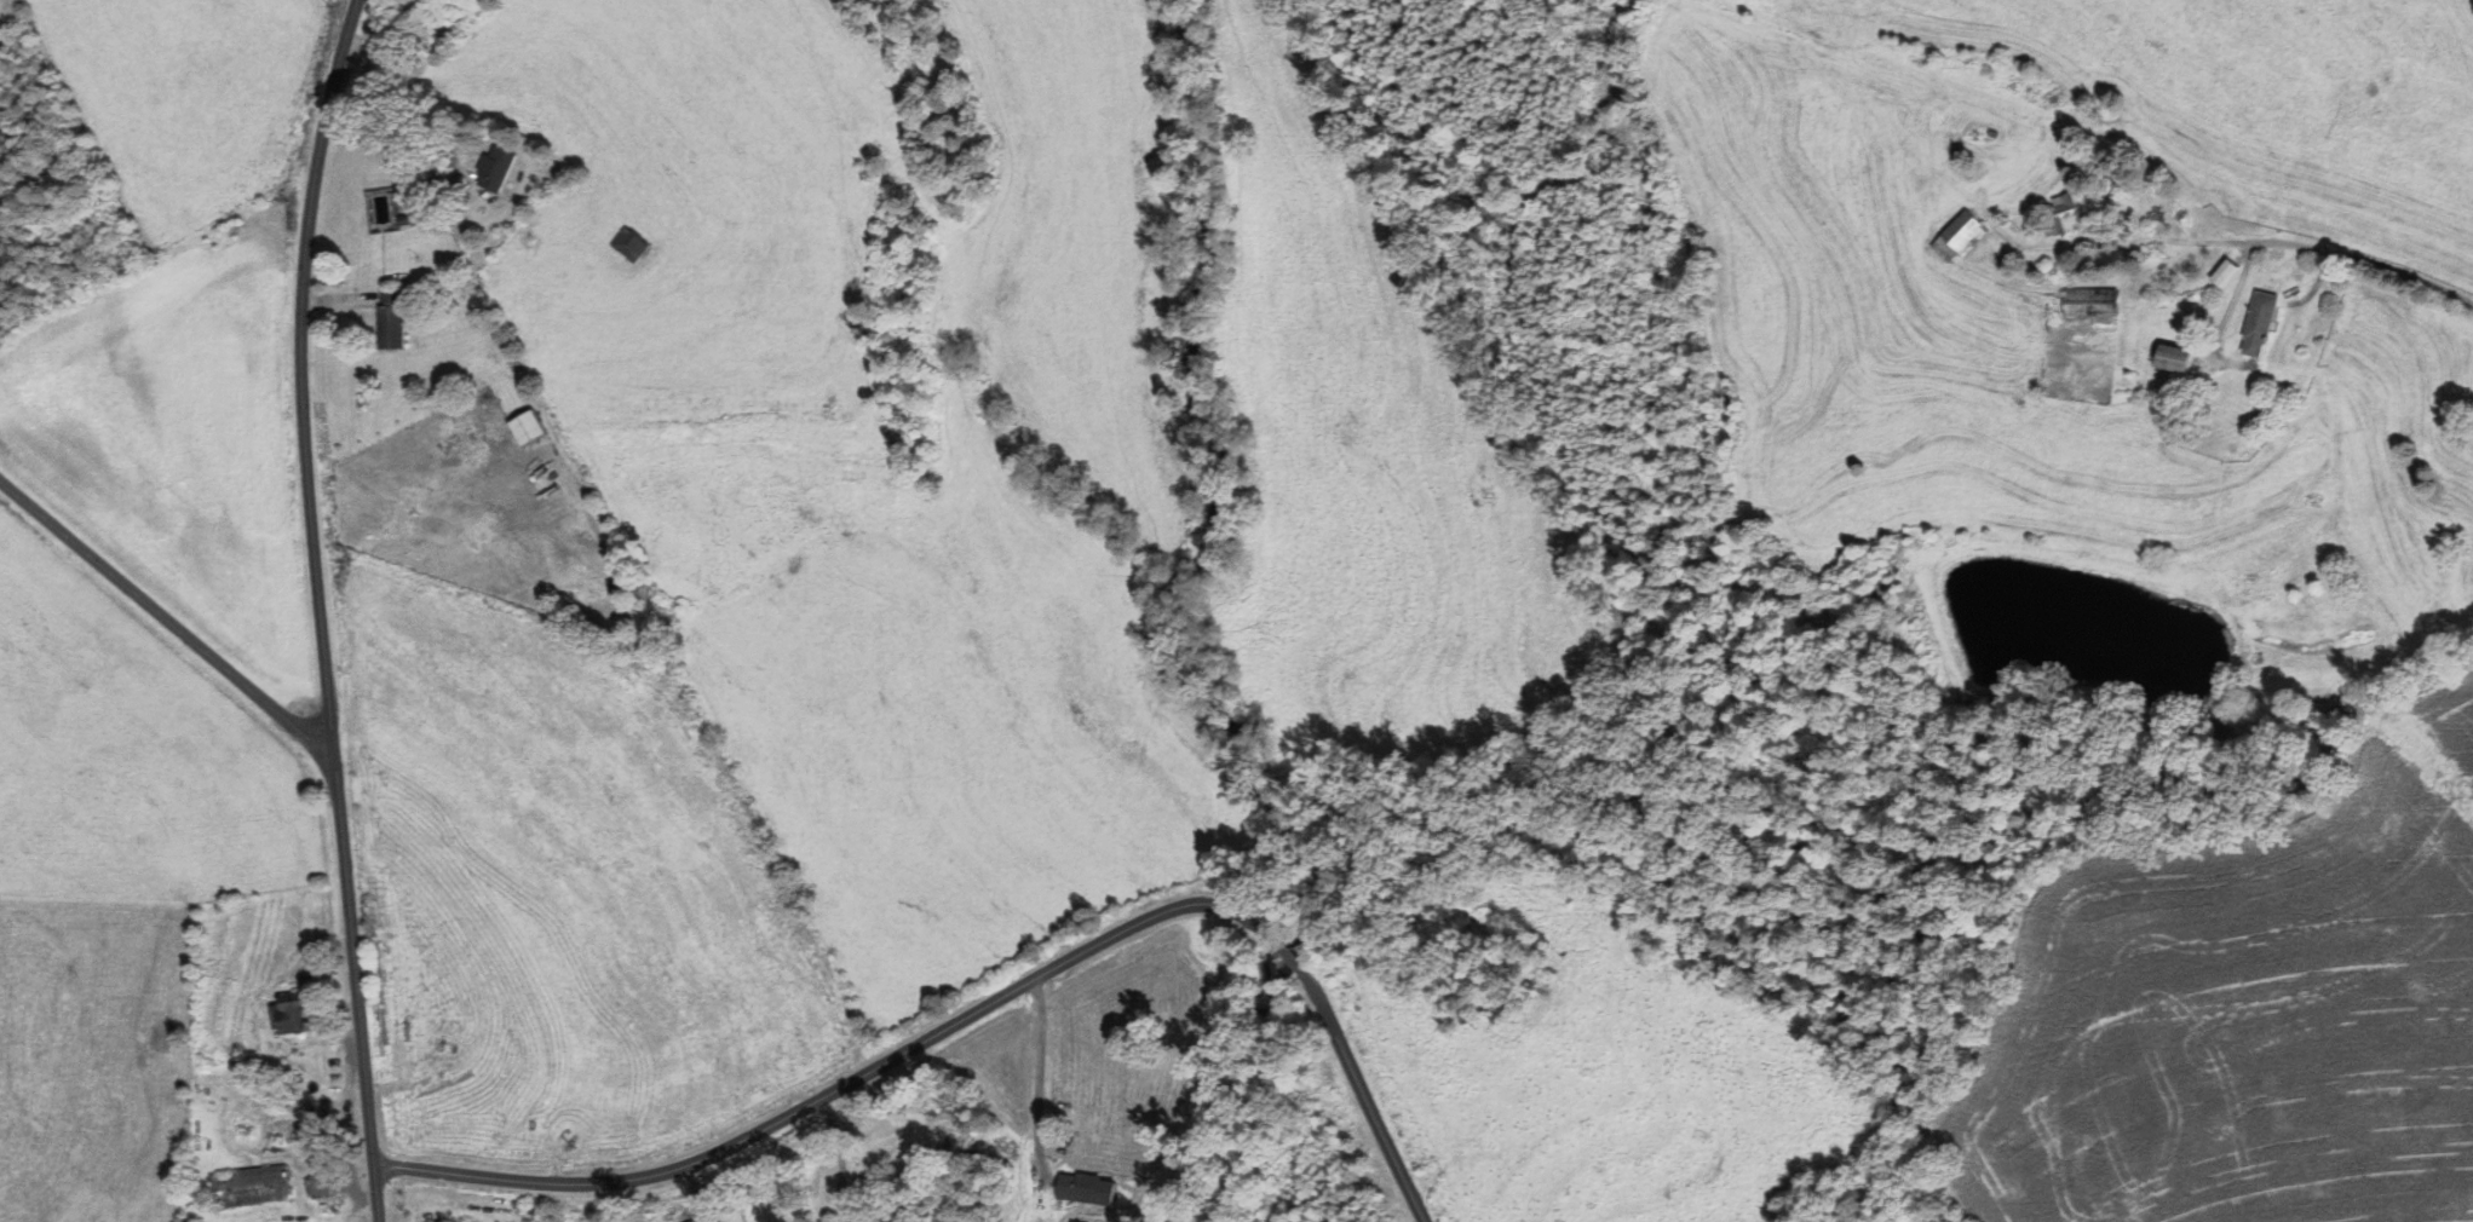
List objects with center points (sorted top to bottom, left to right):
road: (401, 116)
building: (501, 167)
building: (2064, 211)
building: (1954, 236)
road: (2267, 241)
building: (2222, 272)
building: (2089, 300)
building: (396, 319)
building: (2258, 323)
building: (2172, 357)
building: (531, 428)
road: (317, 609)
road: (166, 615)
road: (1286, 952)
building: (289, 1014)
road: (1040, 1070)
road: (839, 1086)
road: (1363, 1094)
road: (841, 1157)
building: (317, 1182)
building: (248, 1187)
building: (1083, 1189)
building: (714, 1218)

